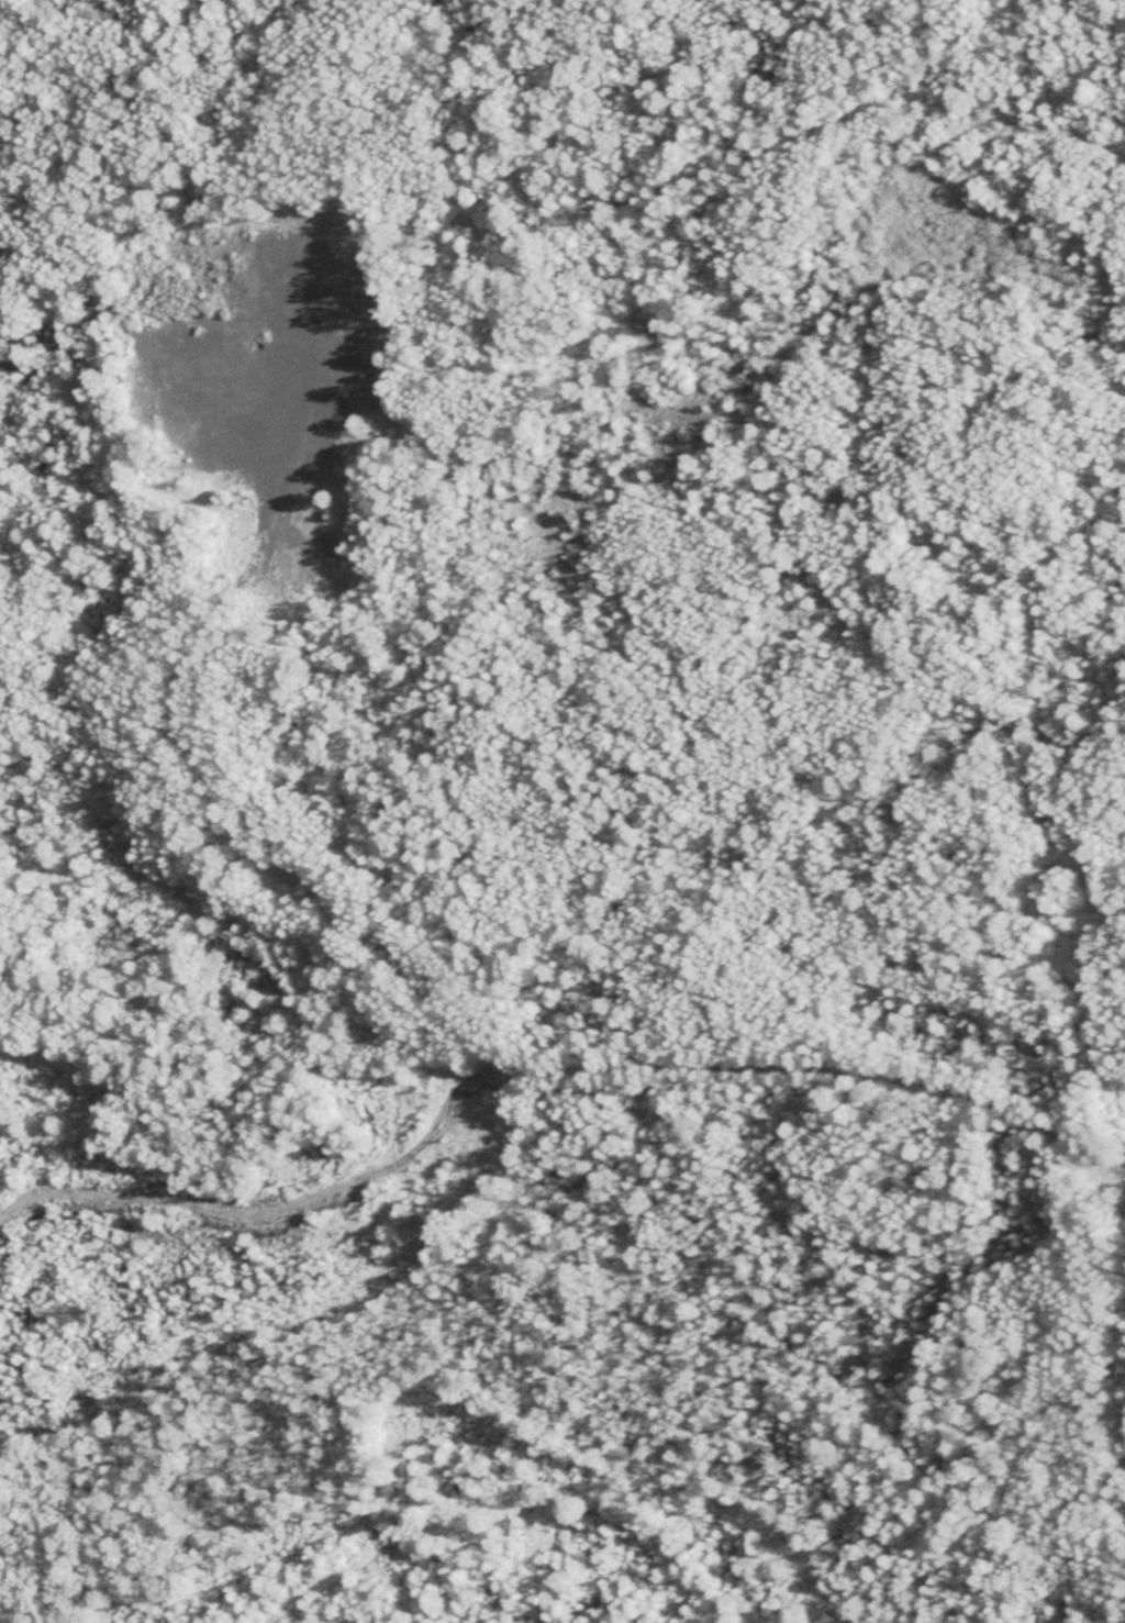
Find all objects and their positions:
road: (543, 1065)

